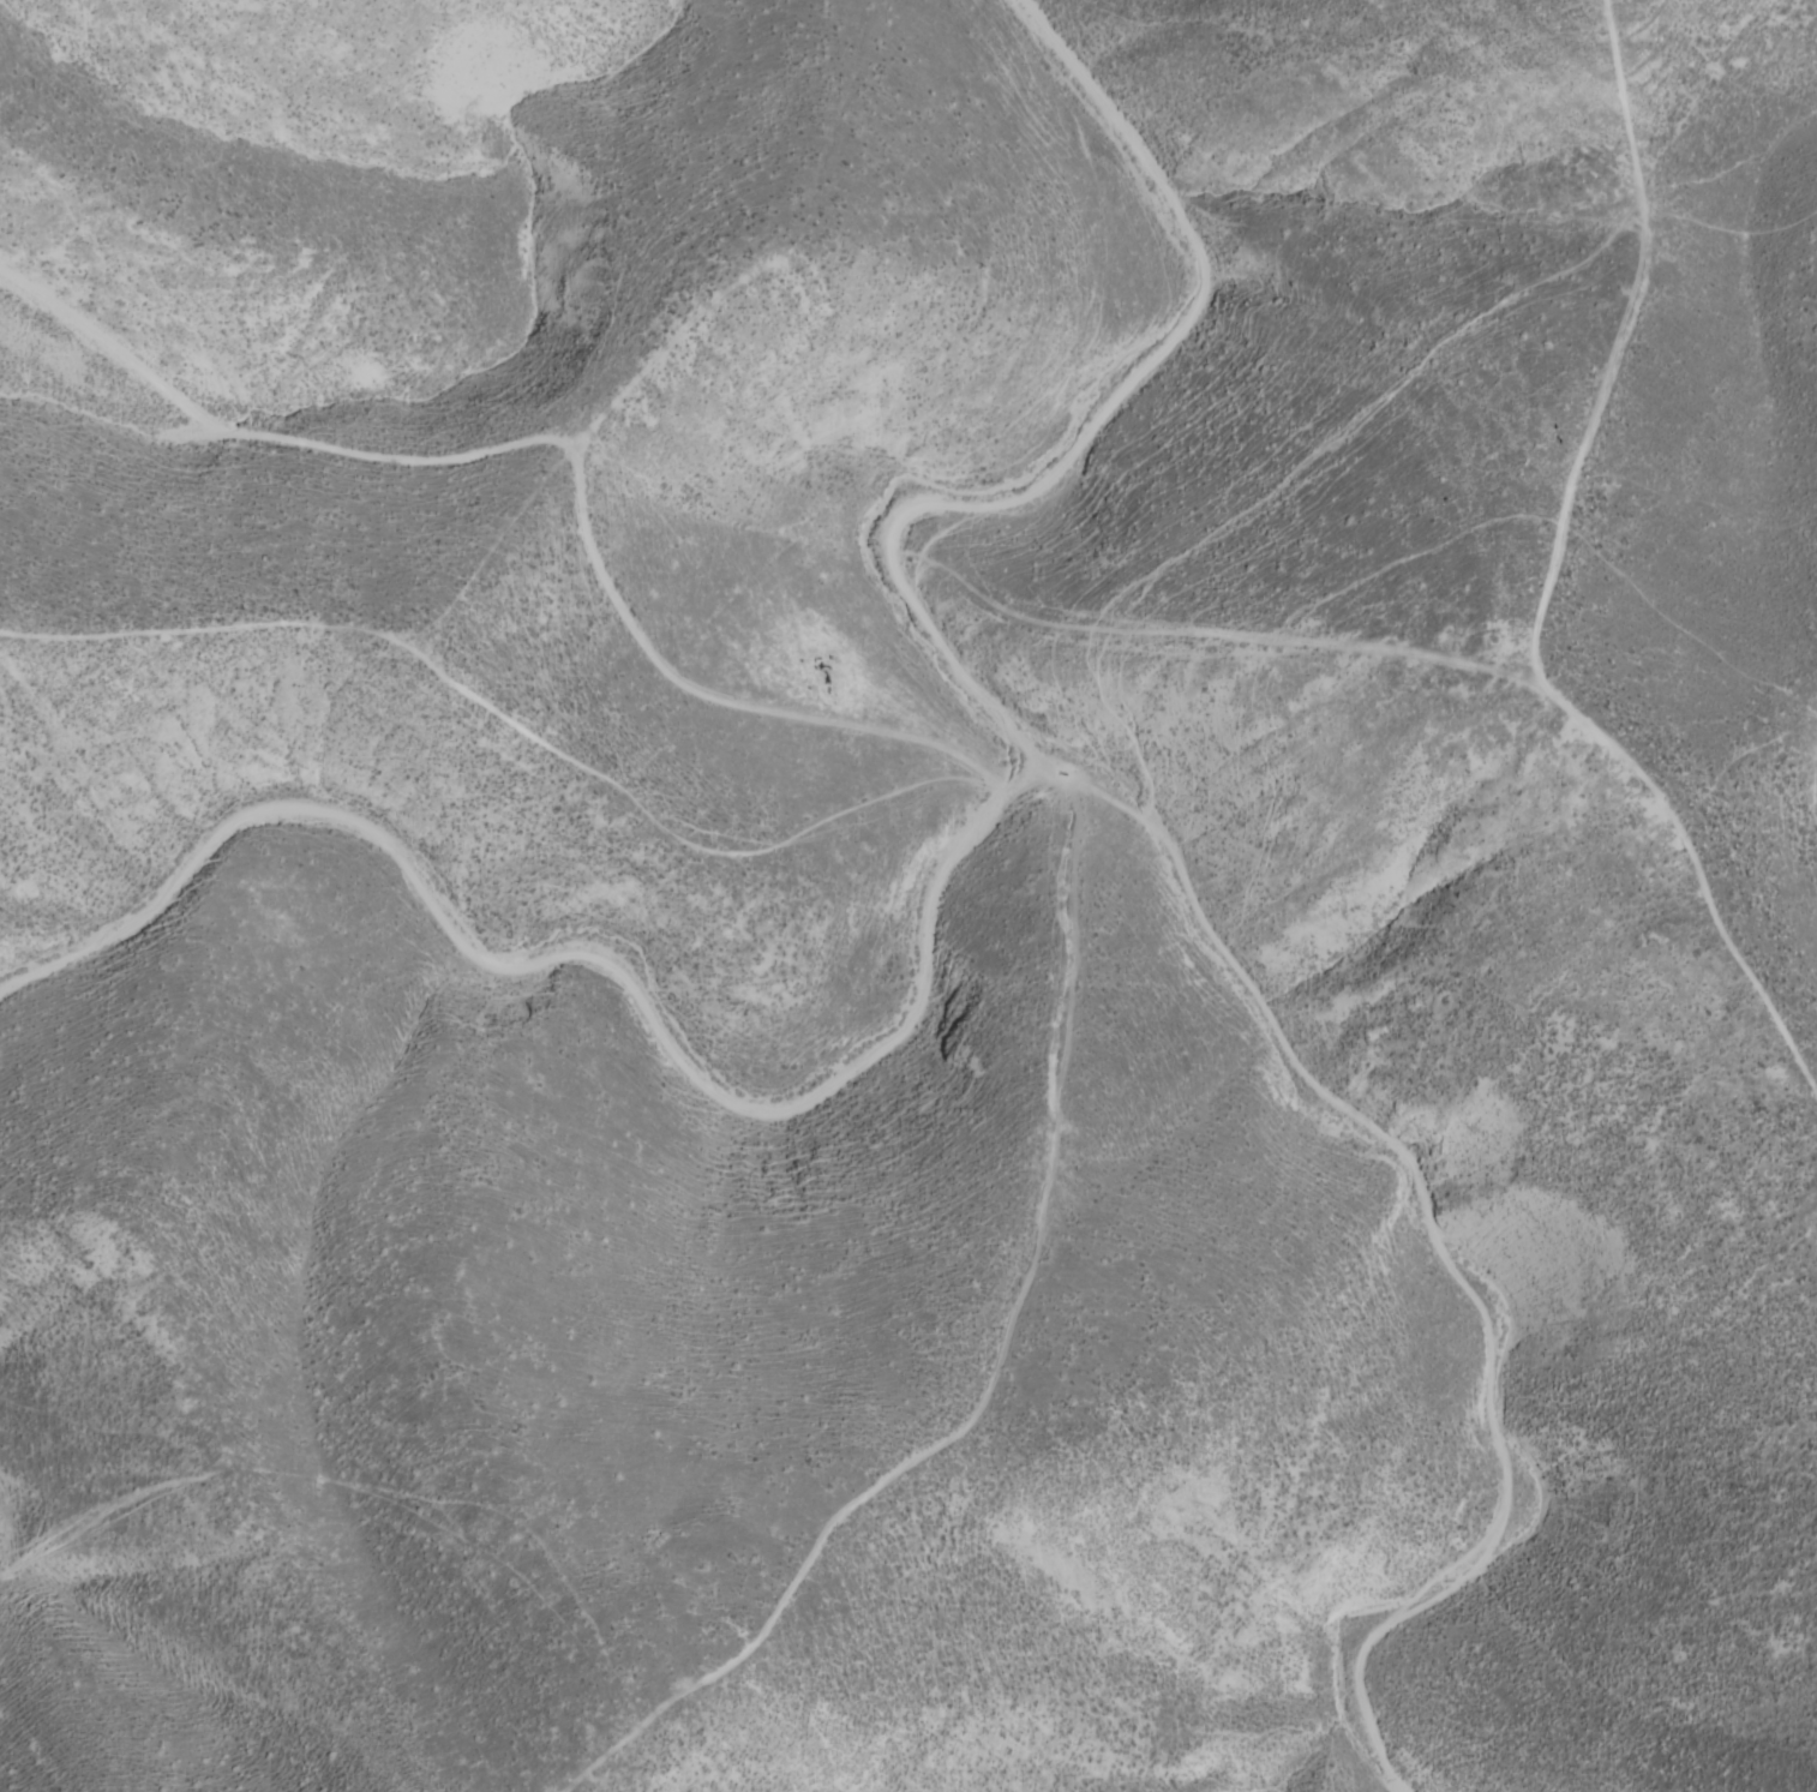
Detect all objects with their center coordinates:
road: (569, 449)
road: (1548, 588)
road: (928, 919)

